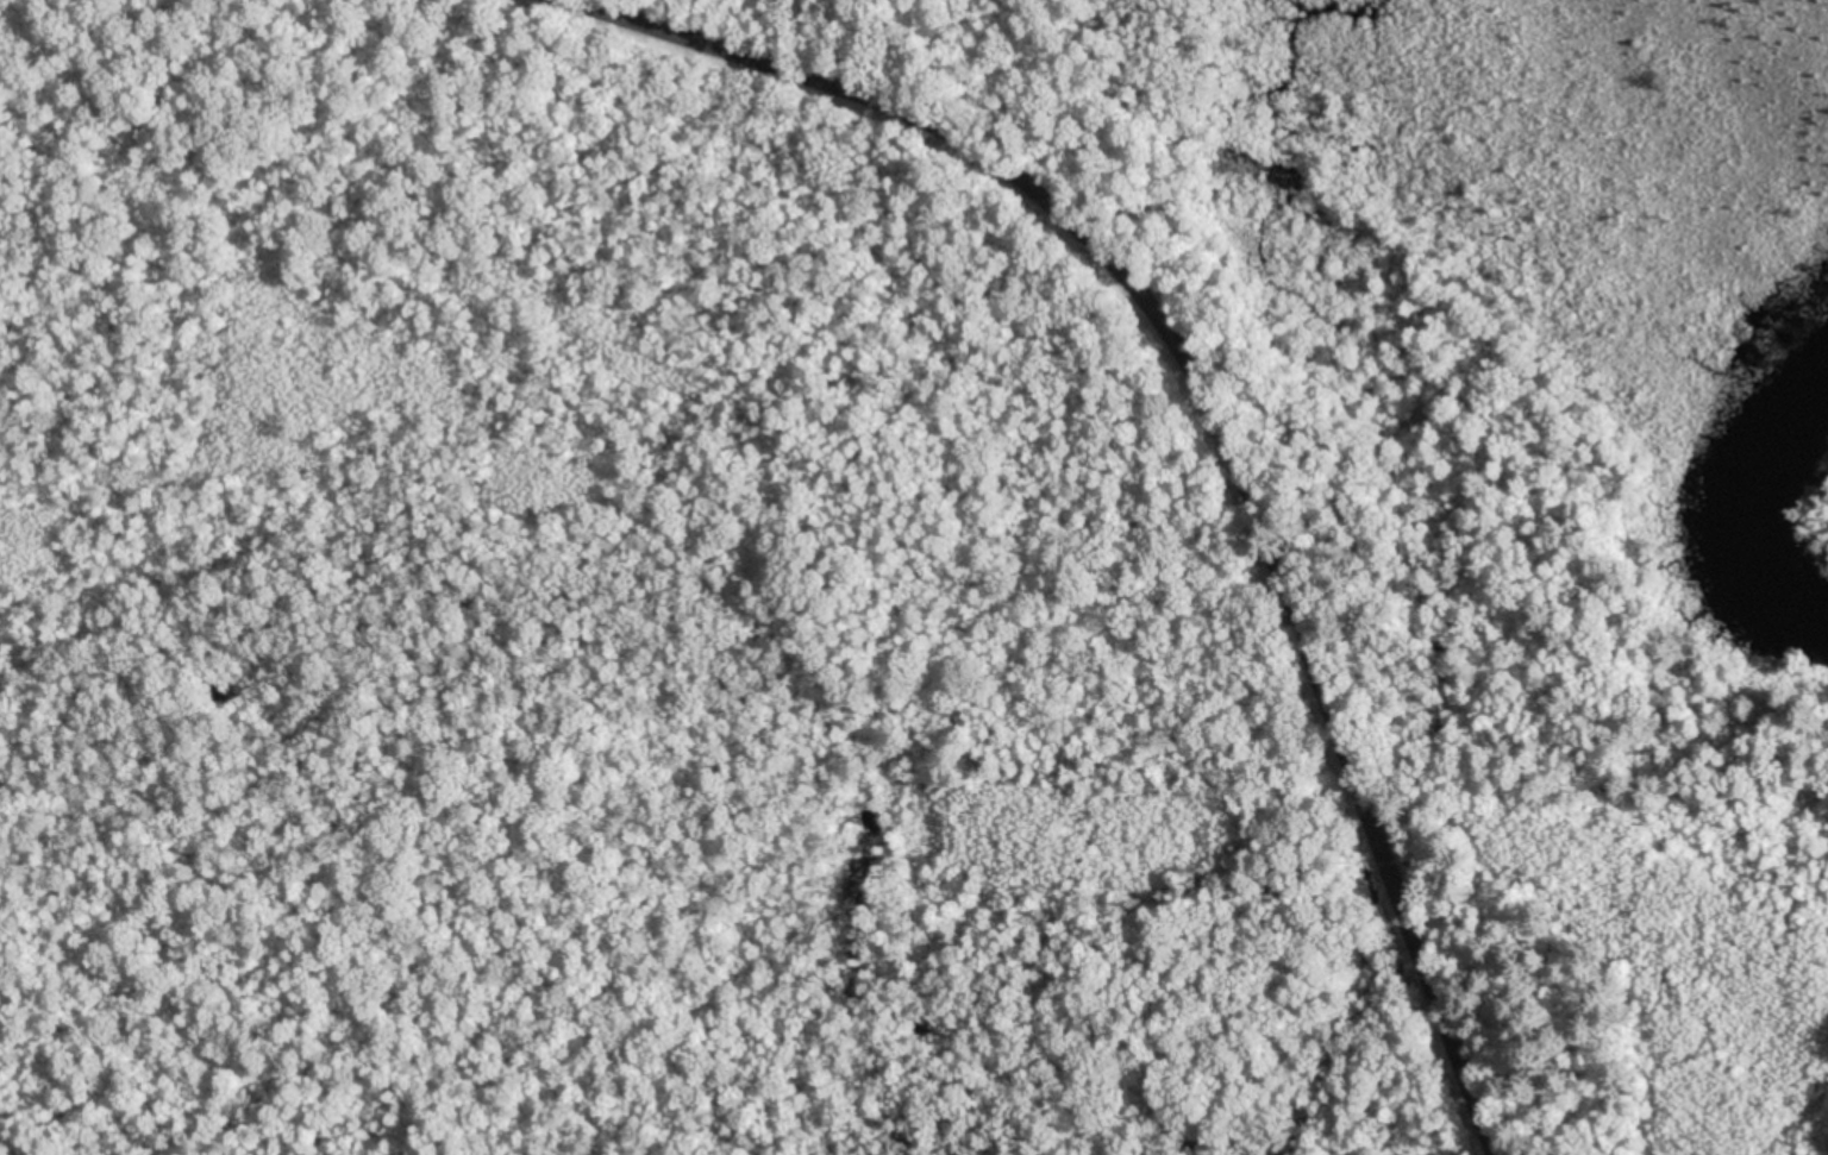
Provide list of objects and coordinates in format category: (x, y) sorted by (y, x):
road: (1219, 420)
river: (1753, 488)

